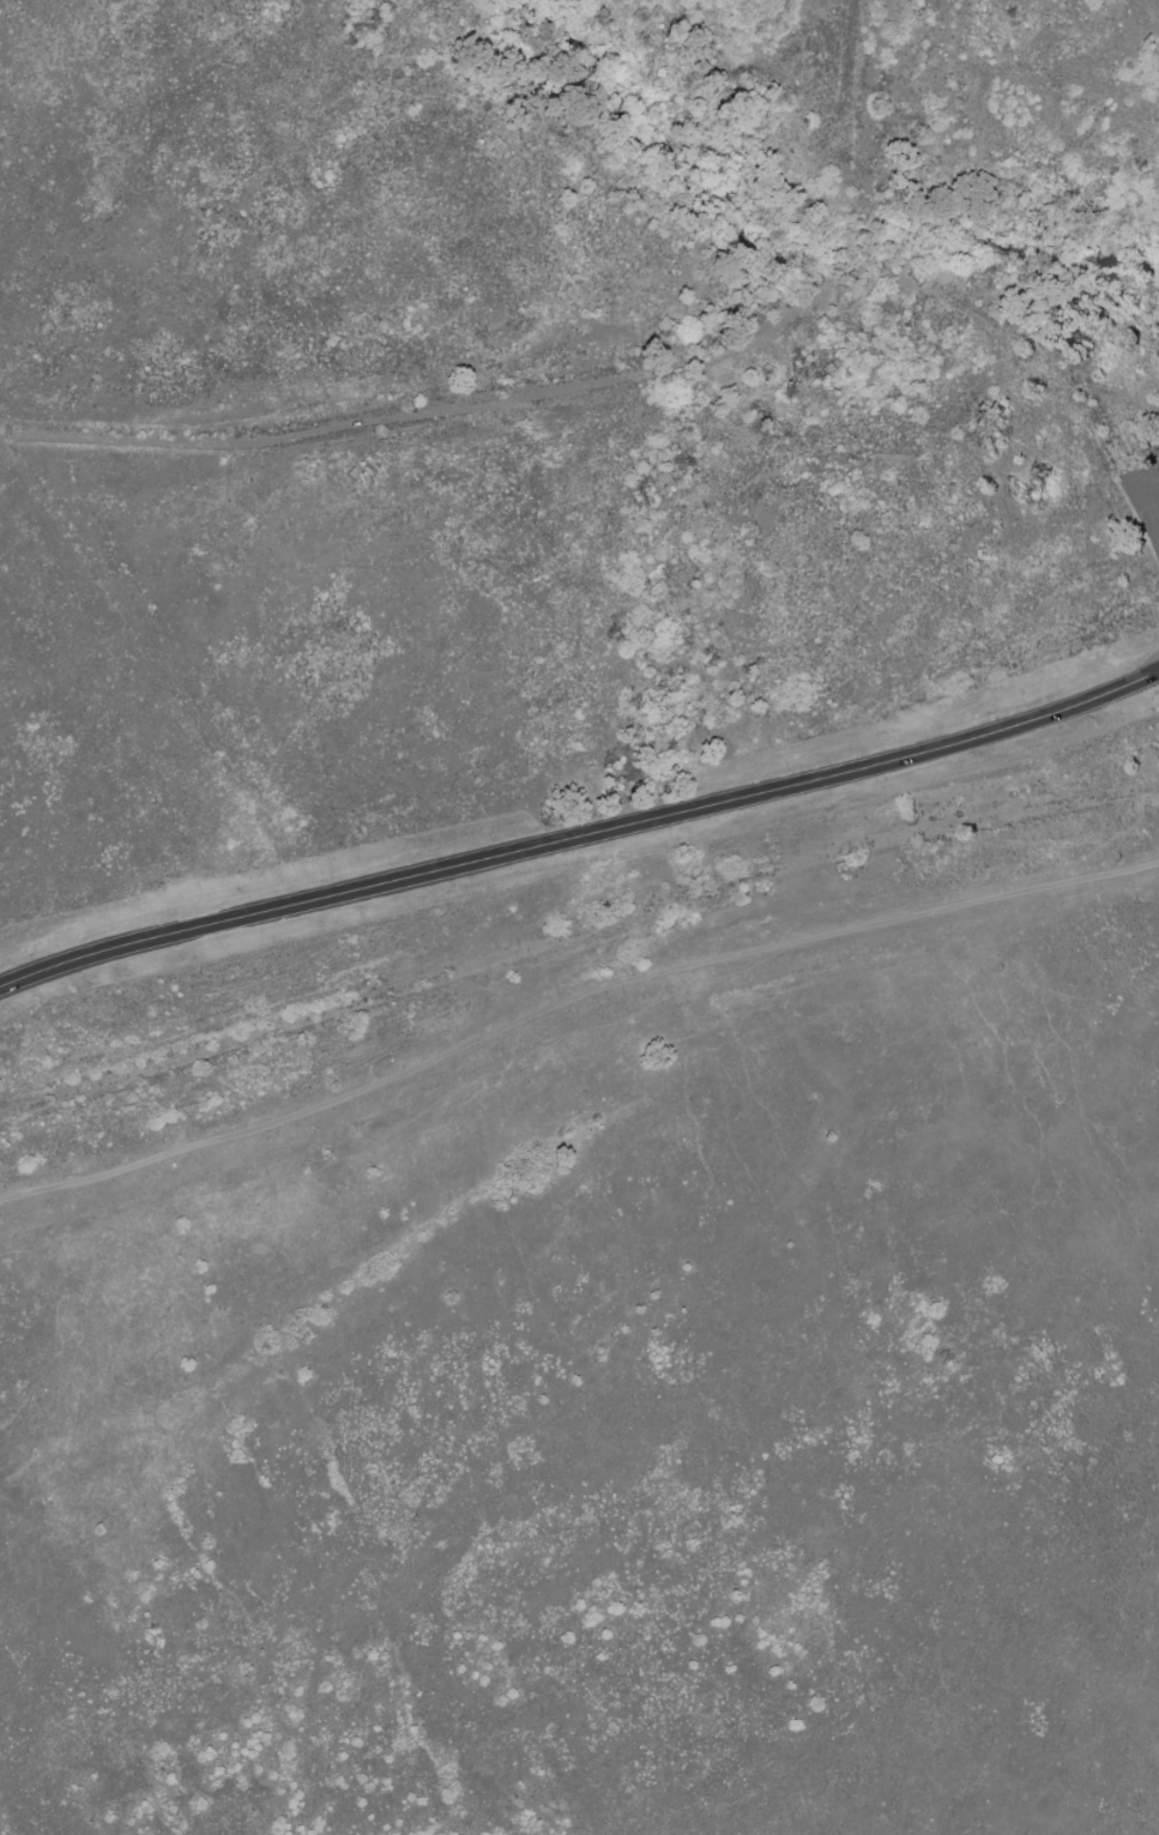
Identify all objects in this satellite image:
road: (865, 144)
road: (638, 370)
road: (580, 838)
road: (569, 1002)

